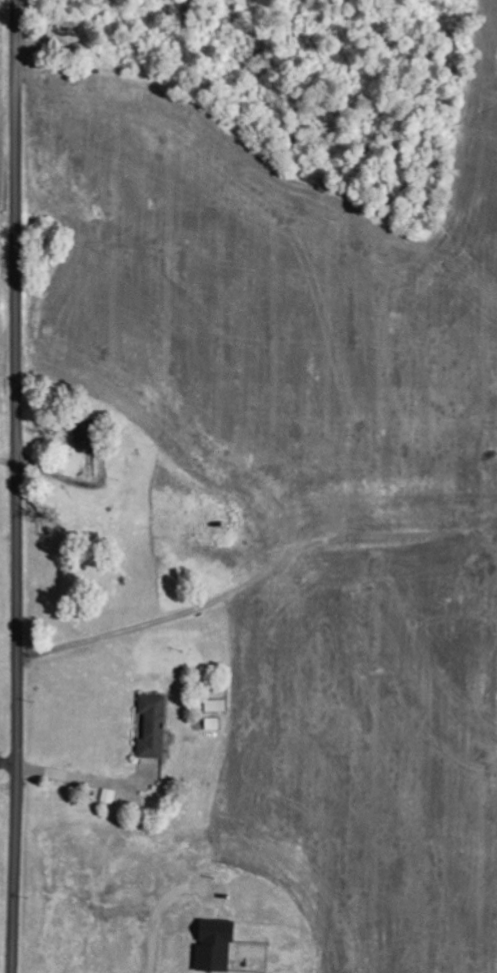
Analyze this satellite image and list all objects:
building: (86, 437)
road: (8, 461)
road: (17, 486)
building: (155, 726)
road: (8, 764)
building: (109, 796)
building: (218, 945)

